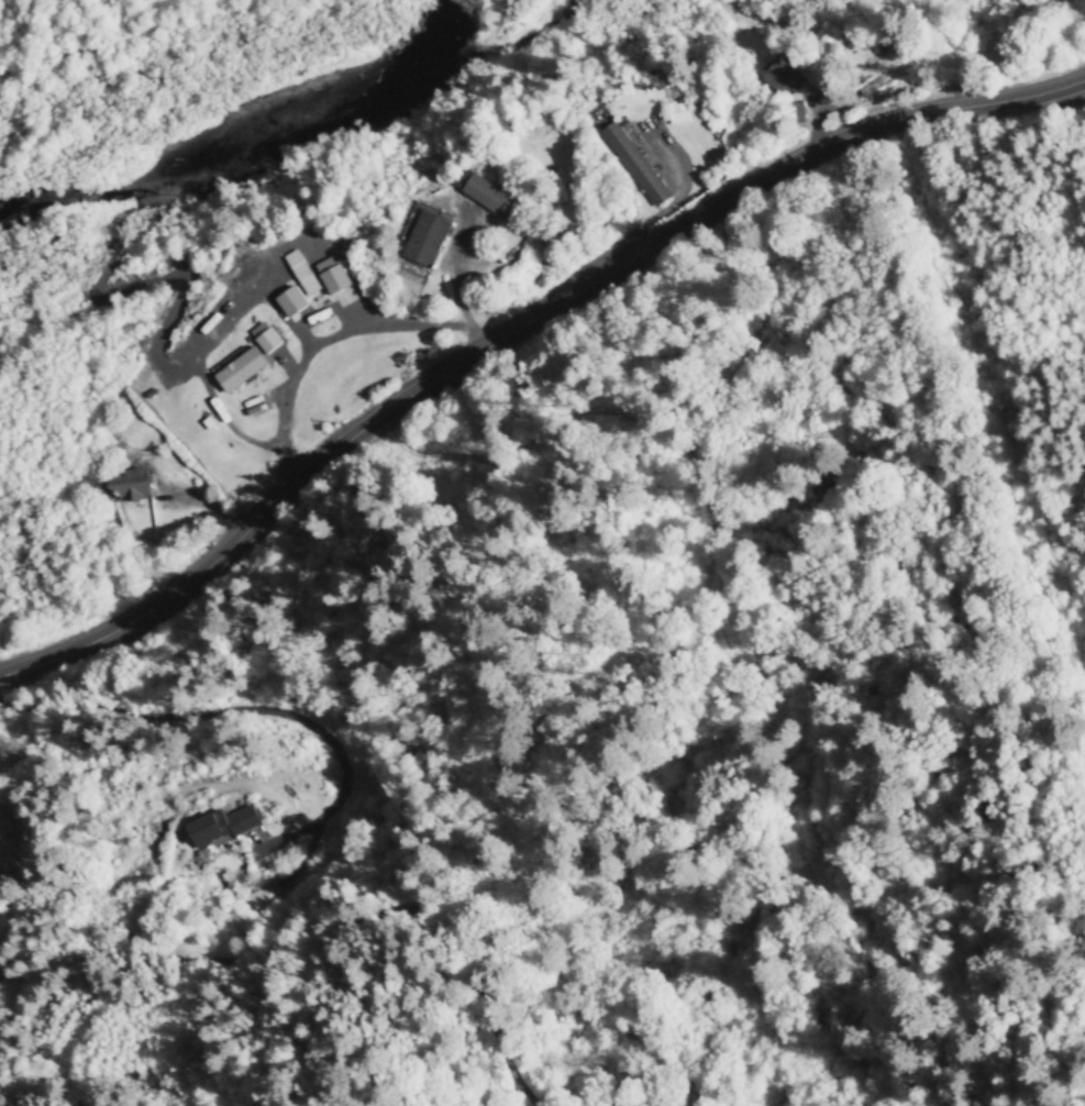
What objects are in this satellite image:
building: (782, 77)
building: (678, 113)
building: (634, 162)
building: (488, 197)
building: (431, 242)
building: (301, 272)
building: (334, 278)
building: (291, 301)
road: (513, 329)
road: (325, 343)
building: (256, 366)
building: (134, 488)
road: (239, 721)
building: (225, 830)
building: (264, 900)
road: (274, 967)

